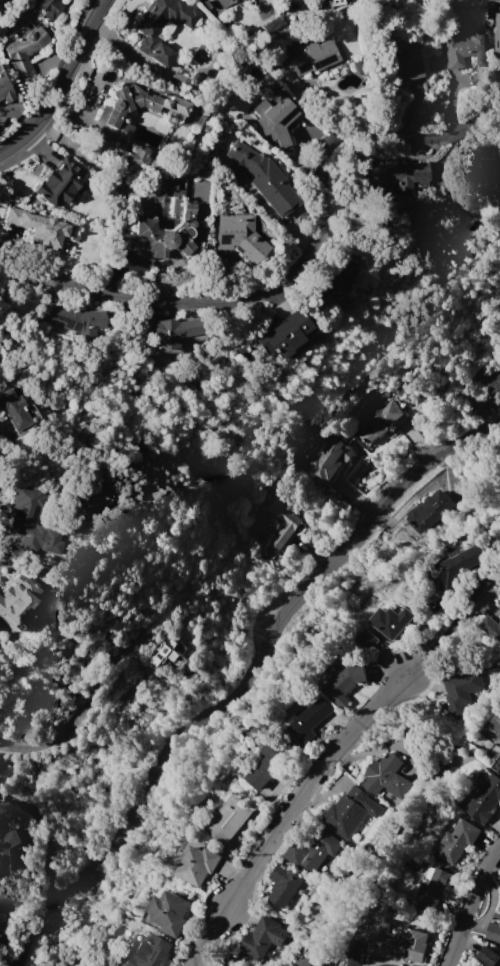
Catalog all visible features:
building: (0, 0)
building: (224, 2)
building: (333, 3)
building: (316, 4)
building: (2, 7)
building: (50, 8)
building: (269, 24)
building: (148, 33)
building: (497, 33)
building: (24, 49)
building: (465, 50)
building: (312, 58)
building: (402, 66)
road: (59, 83)
building: (3, 90)
building: (113, 115)
building: (276, 122)
building: (136, 157)
building: (398, 176)
building: (261, 177)
building: (491, 177)
building: (58, 182)
building: (165, 186)
building: (42, 228)
building: (164, 235)
building: (239, 237)
road: (296, 265)
building: (338, 279)
building: (75, 320)
building: (167, 330)
building: (282, 335)
building: (490, 382)
building: (17, 412)
building: (379, 419)
building: (328, 461)
building: (499, 472)
building: (431, 509)
building: (292, 521)
building: (28, 522)
building: (458, 567)
building: (13, 595)
building: (499, 602)
building: (392, 621)
road: (451, 626)
building: (491, 627)
building: (368, 638)
building: (169, 653)
road: (241, 676)
building: (347, 684)
building: (460, 689)
road: (83, 709)
building: (311, 719)
building: (269, 761)
building: (497, 762)
building: (387, 777)
building: (486, 800)
building: (350, 811)
road: (288, 813)
building: (227, 820)
road: (45, 830)
building: (459, 840)
building: (10, 846)
building: (314, 852)
building: (198, 865)
building: (284, 885)
building: (434, 889)
road: (471, 905)
building: (170, 912)
building: (1, 920)
building: (493, 932)
building: (263, 938)
building: (399, 941)
building: (149, 953)
building: (311, 957)
building: (489, 957)

